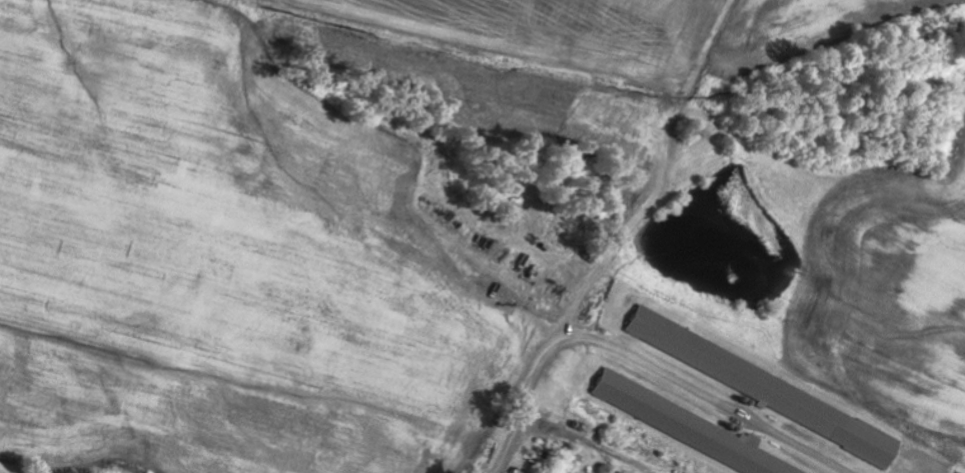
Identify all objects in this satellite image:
building: (762, 389)
building: (684, 426)

